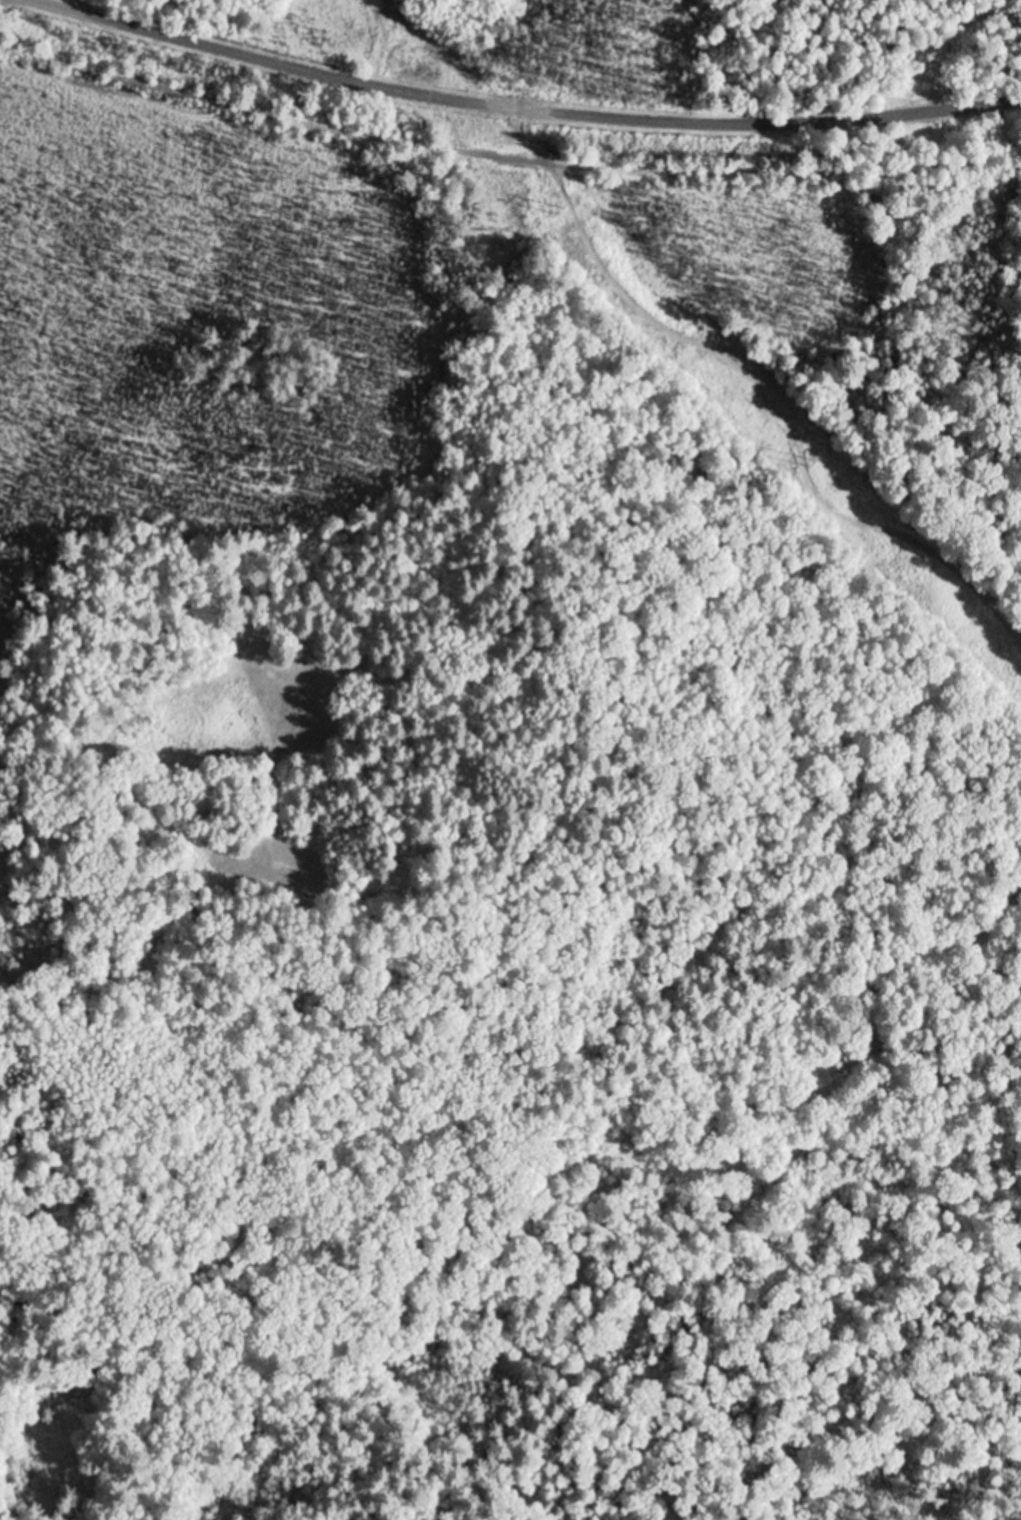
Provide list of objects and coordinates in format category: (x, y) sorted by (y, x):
road: (517, 110)
road: (504, 160)
power tower: (559, 213)
power tower: (814, 467)

